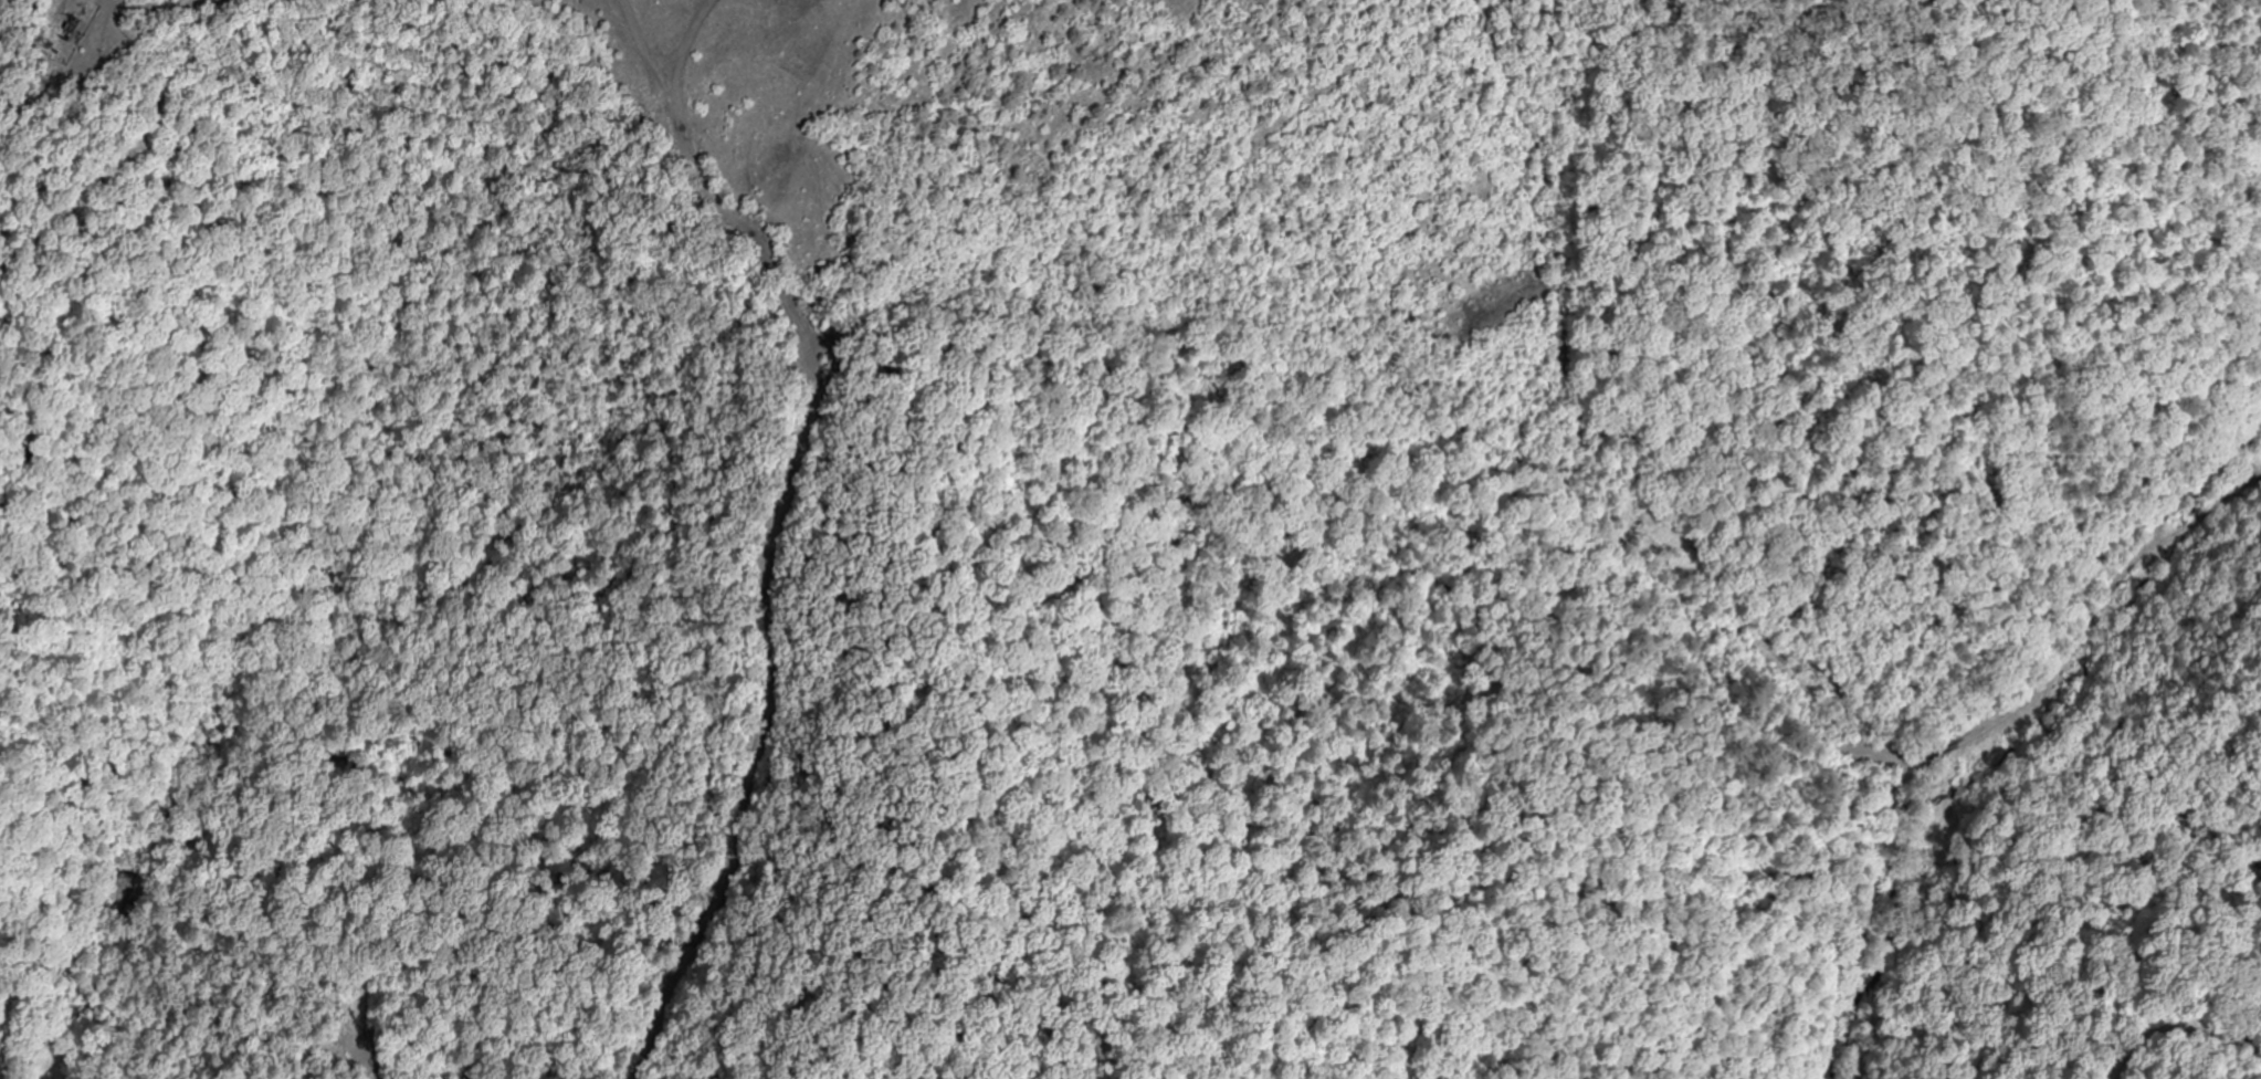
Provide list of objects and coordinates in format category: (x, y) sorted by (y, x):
road: (2064, 741)

